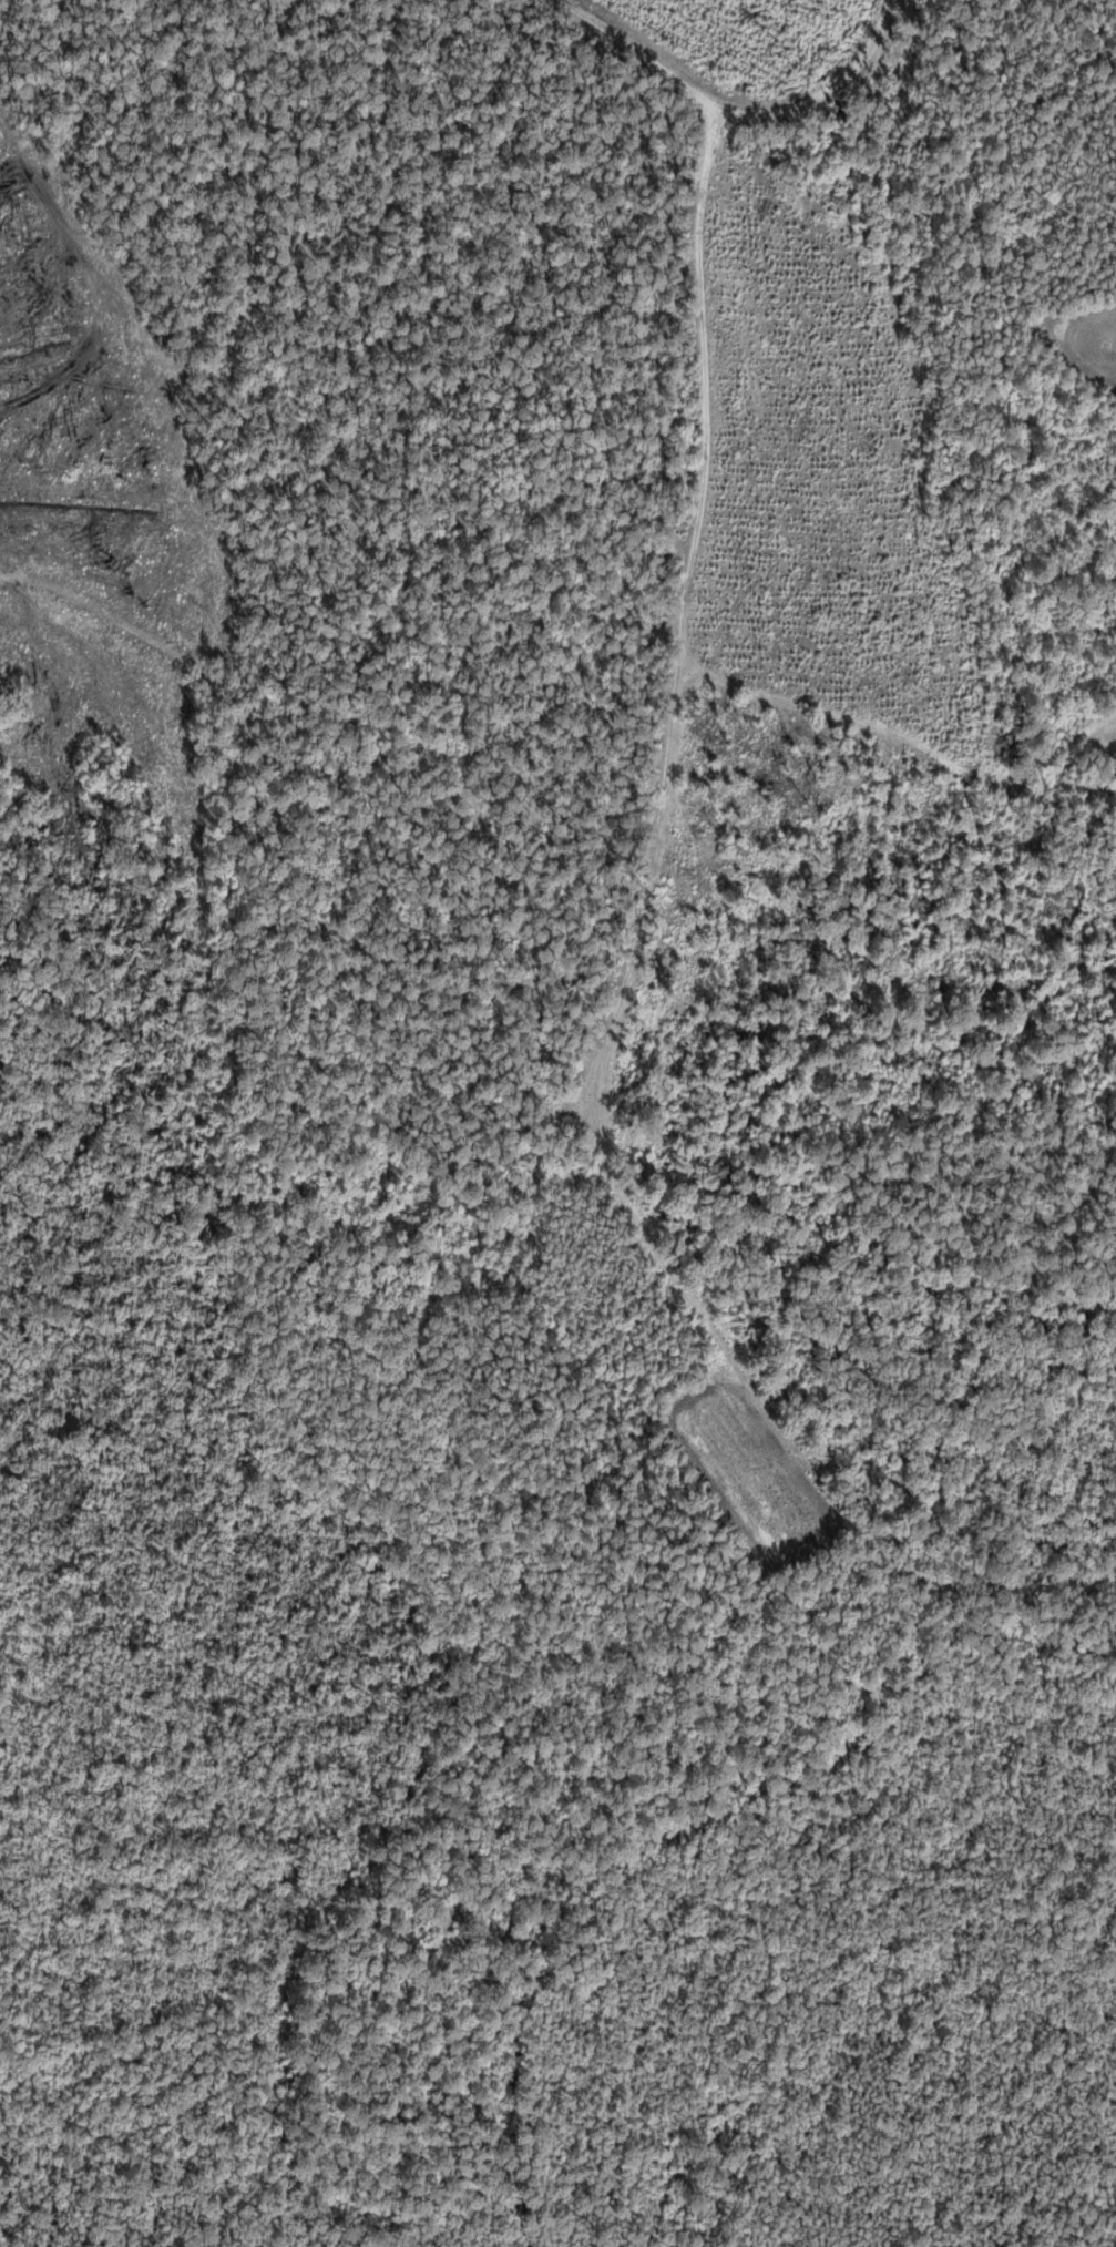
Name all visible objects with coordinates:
road: (718, 20)
road: (482, 733)
road: (304, 867)
road: (553, 1100)

